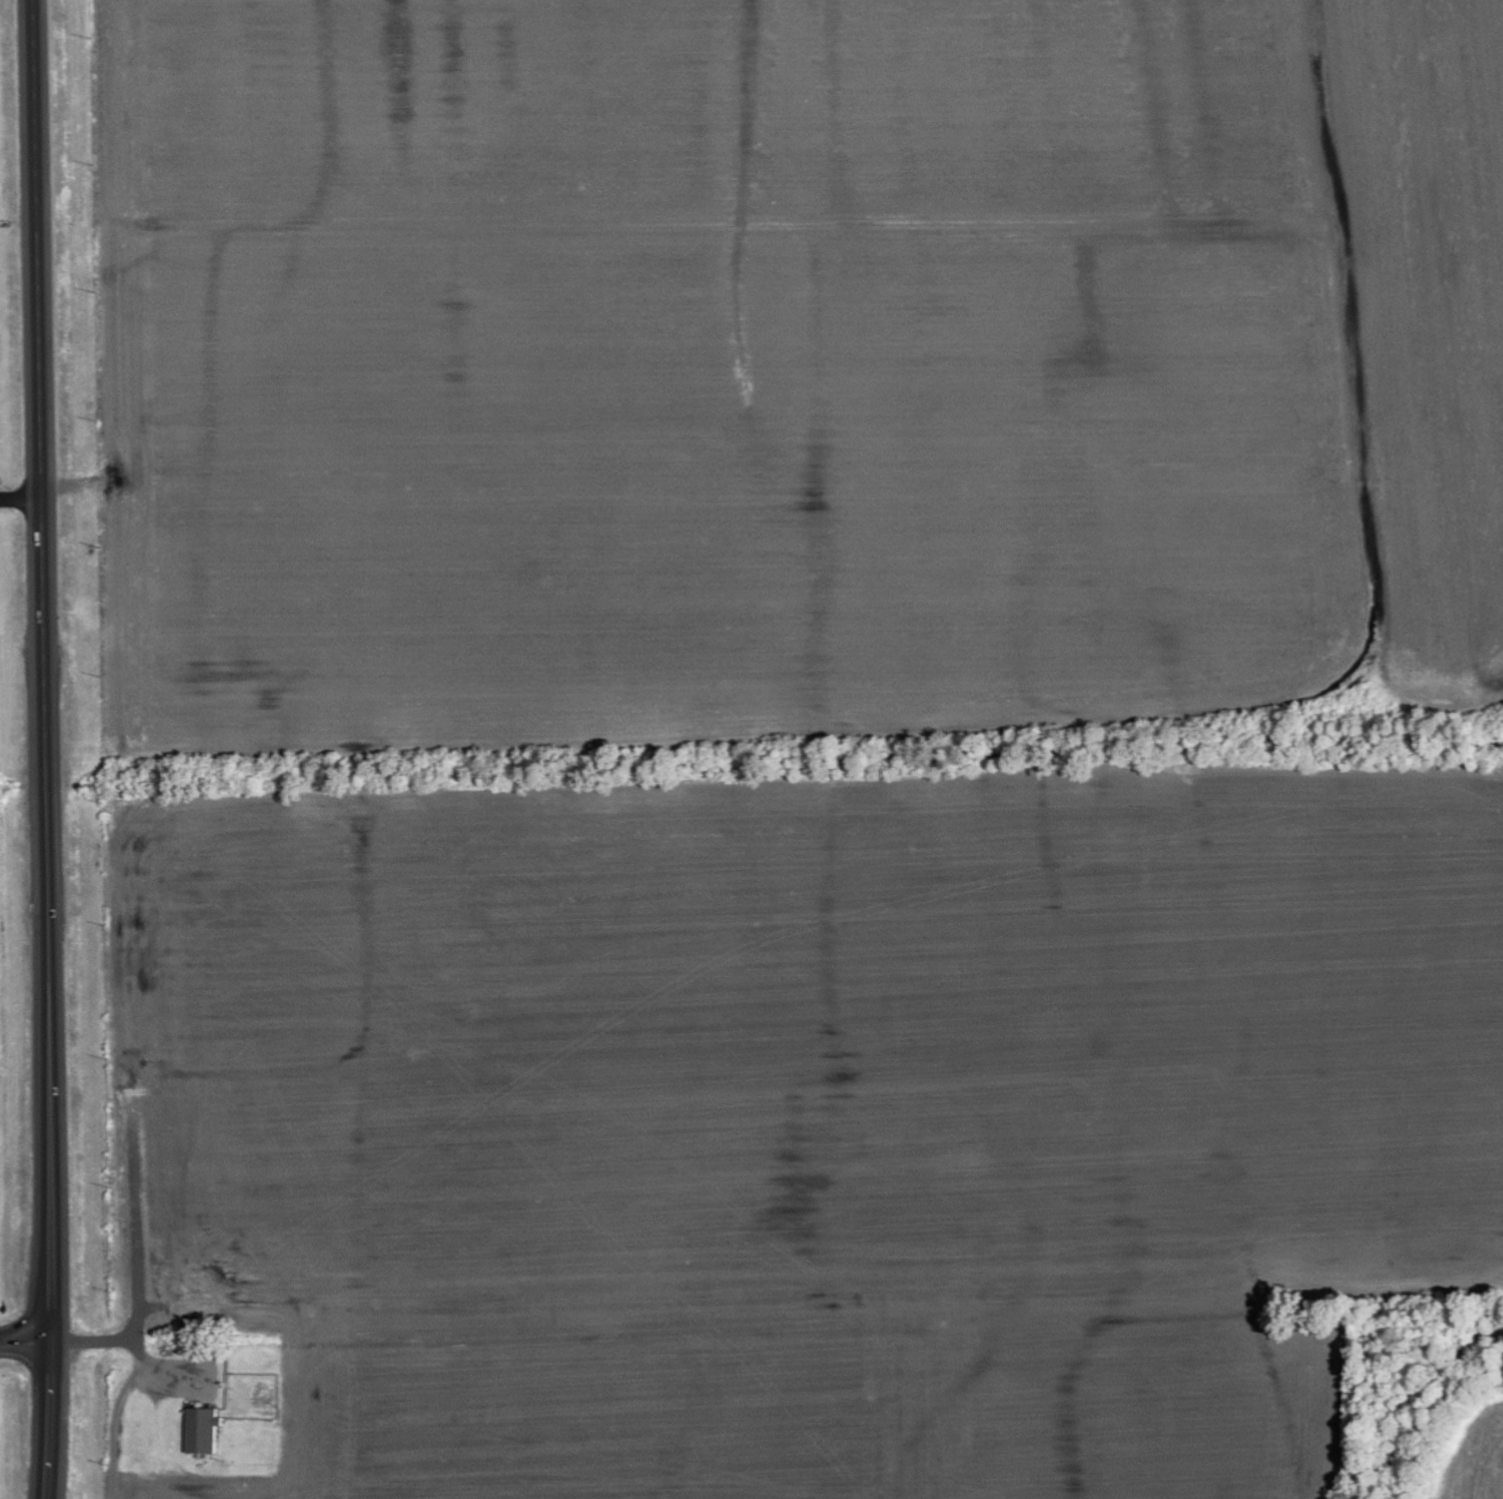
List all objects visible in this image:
road: (47, 749)
road: (28, 1344)
building: (201, 1430)

